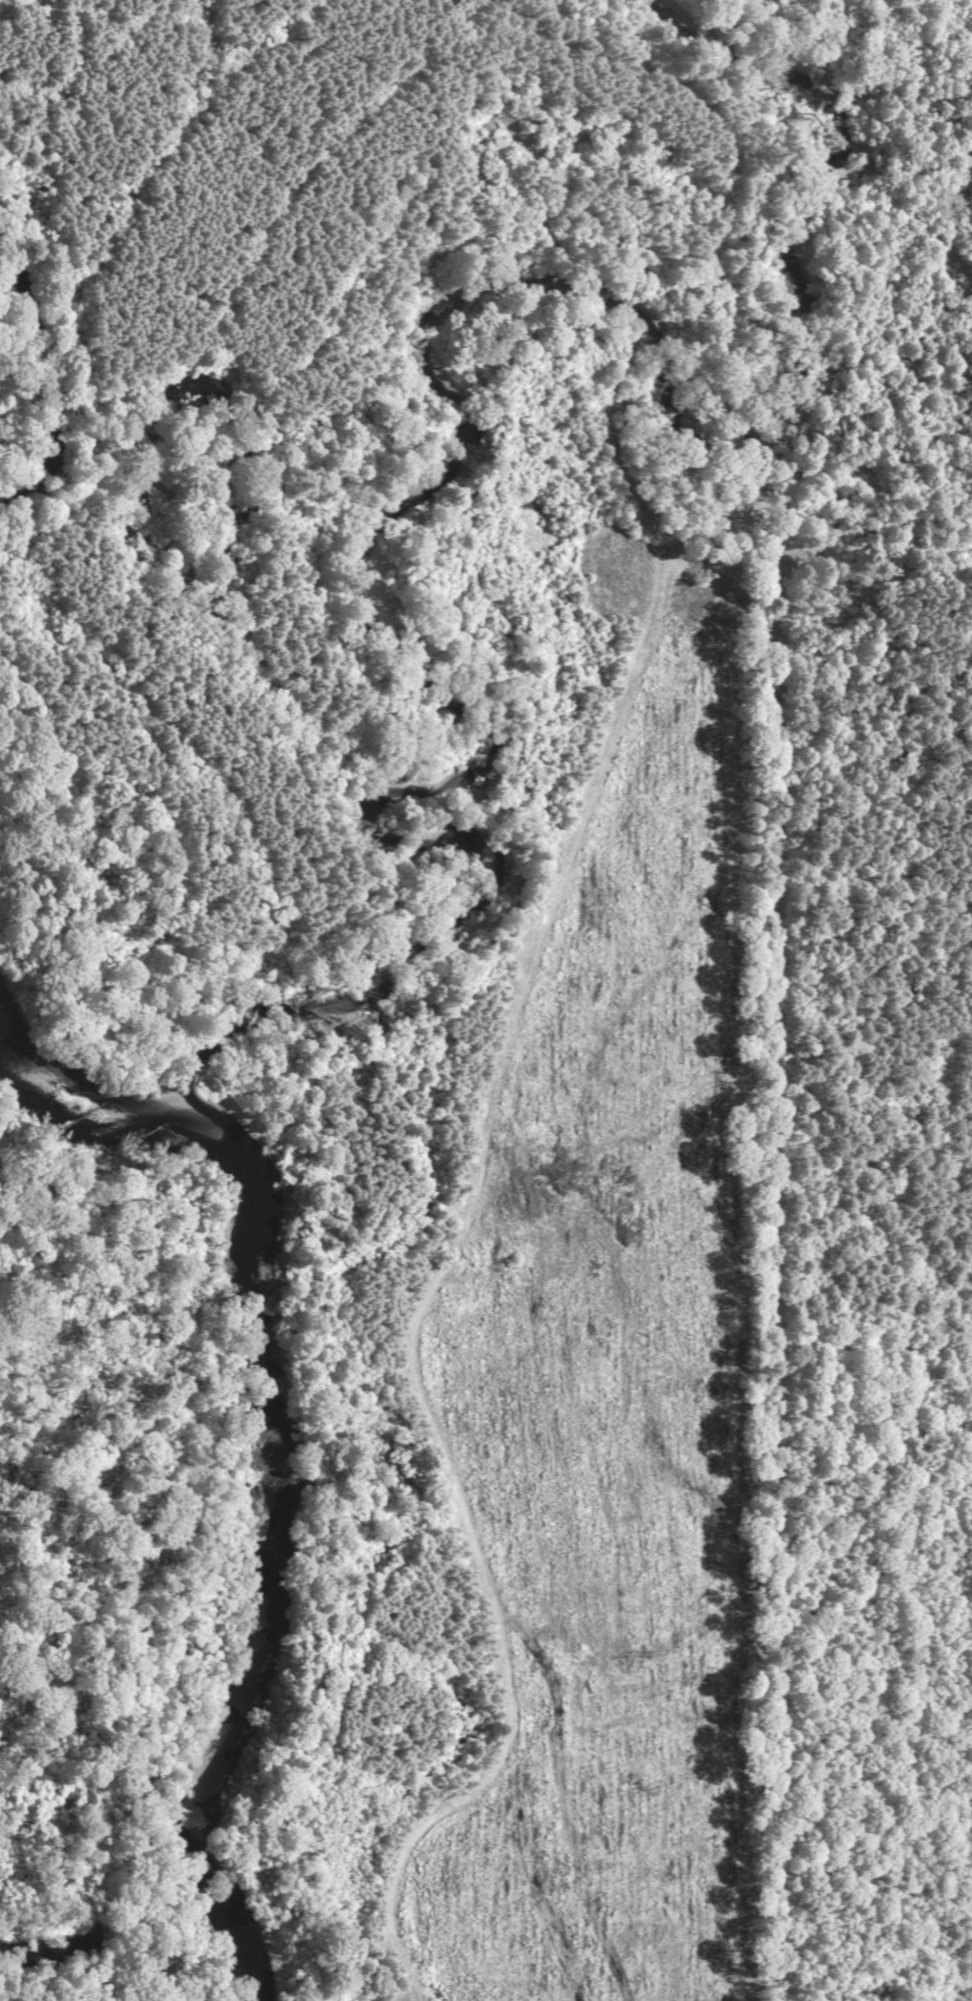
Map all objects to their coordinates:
river: (260, 1449)

